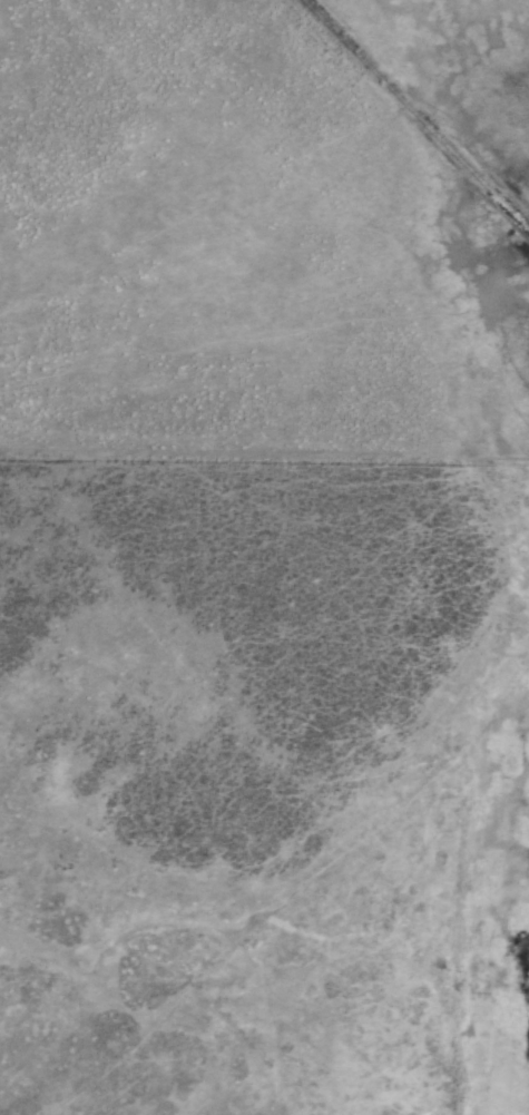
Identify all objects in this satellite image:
railway: (414, 116)
crop: (264, 557)

